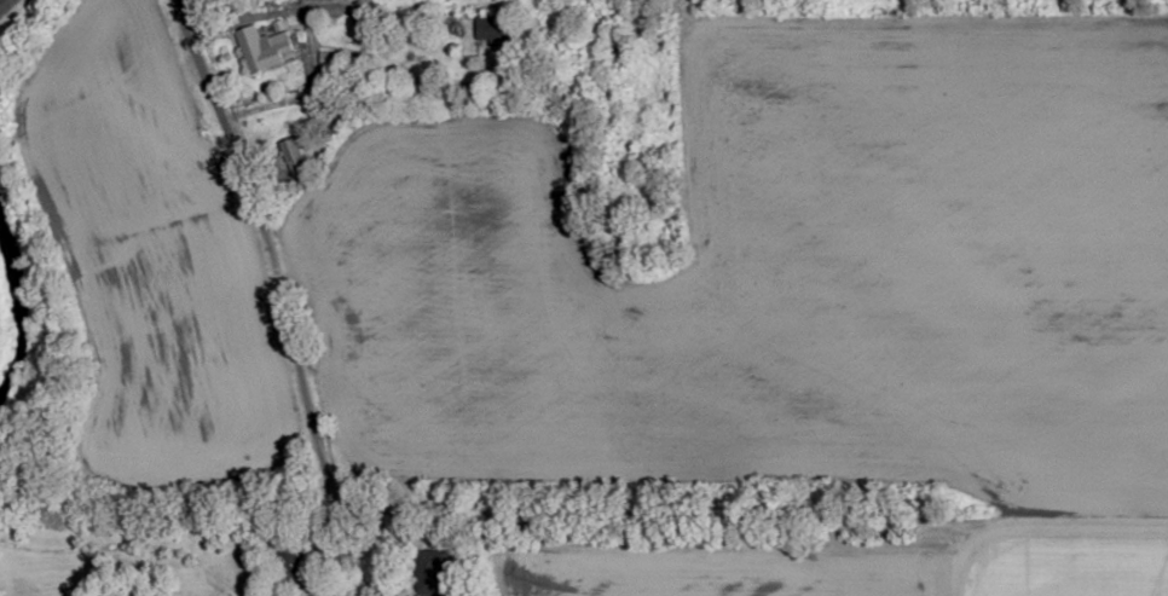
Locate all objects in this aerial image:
road: (2, 2)
road: (60, 12)
road: (428, 15)
building: (493, 28)
building: (265, 48)
building: (617, 54)
building: (572, 66)
building: (300, 156)
road: (260, 243)
road: (346, 502)
road: (1059, 538)
building: (291, 561)
building: (433, 572)

